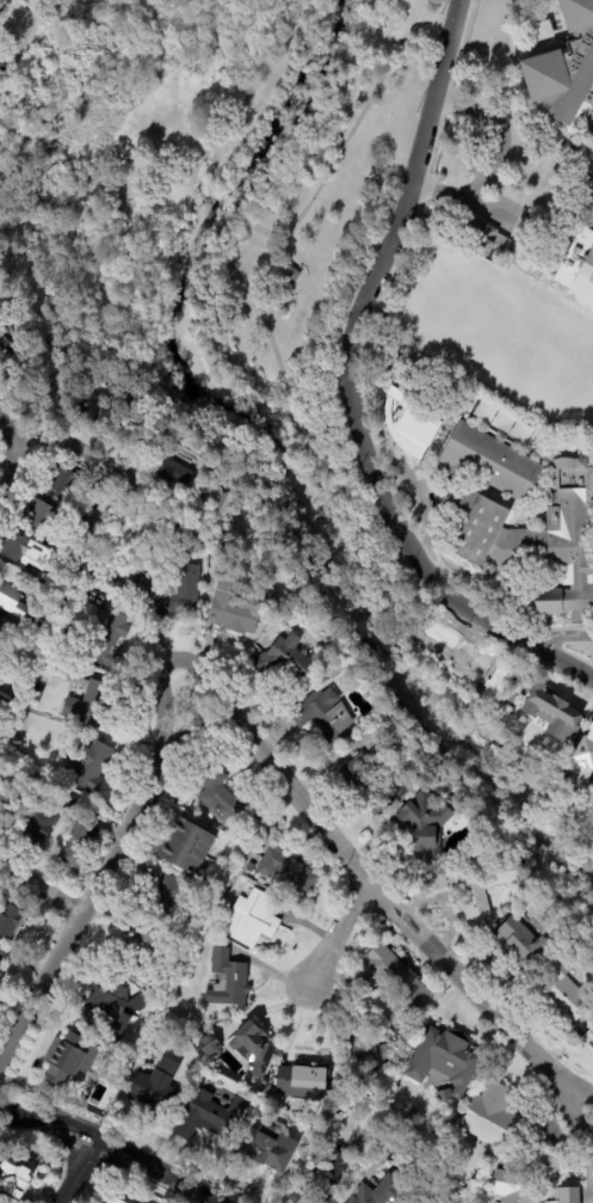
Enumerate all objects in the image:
building: (1, 4)
building: (48, 5)
building: (563, 63)
road: (245, 100)
building: (592, 108)
road: (495, 159)
road: (409, 183)
road: (234, 210)
building: (592, 221)
road: (268, 233)
building: (478, 235)
building: (577, 272)
building: (288, 275)
road: (264, 312)
park: (311, 330)
building: (8, 350)
building: (183, 413)
building: (501, 421)
road: (12, 426)
building: (414, 428)
building: (162, 447)
road: (76, 449)
road: (12, 459)
building: (175, 472)
building: (64, 481)
road: (418, 492)
building: (91, 498)
building: (218, 498)
building: (39, 515)
building: (482, 521)
building: (85, 527)
building: (187, 545)
building: (26, 552)
road: (422, 558)
building: (54, 582)
building: (270, 590)
building: (66, 591)
building: (167, 591)
building: (38, 596)
building: (12, 600)
building: (234, 607)
building: (0, 615)
building: (4, 625)
building: (107, 636)
road: (564, 638)
building: (25, 643)
building: (38, 649)
building: (285, 658)
building: (499, 692)
building: (7, 695)
building: (86, 696)
building: (327, 718)
building: (555, 720)
building: (375, 731)
building: (17, 743)
building: (581, 763)
building: (88, 765)
building: (13, 771)
building: (20, 775)
building: (0, 778)
building: (0, 780)
building: (31, 785)
building: (366, 786)
building: (227, 802)
building: (72, 804)
building: (5, 809)
building: (89, 812)
building: (38, 827)
building: (420, 827)
building: (187, 846)
building: (76, 847)
road: (109, 865)
building: (251, 867)
building: (289, 872)
building: (478, 883)
road: (44, 885)
road: (373, 896)
building: (168, 902)
building: (253, 919)
building: (11, 922)
road: (336, 937)
building: (520, 941)
building: (143, 959)
building: (2, 965)
building: (229, 981)
building: (397, 986)
building: (567, 990)
building: (1, 1003)
building: (138, 1003)
building: (106, 1012)
building: (208, 1044)
building: (253, 1047)
building: (67, 1057)
building: (364, 1058)
building: (447, 1060)
building: (302, 1079)
building: (153, 1091)
building: (445, 1095)
building: (206, 1112)
building: (492, 1112)
building: (412, 1115)
road: (112, 1147)
building: (262, 1150)
building: (346, 1162)
road: (74, 1170)
building: (523, 1177)
building: (14, 1180)
building: (377, 1192)
building: (573, 1192)
building: (121, 1199)
building: (591, 1199)

